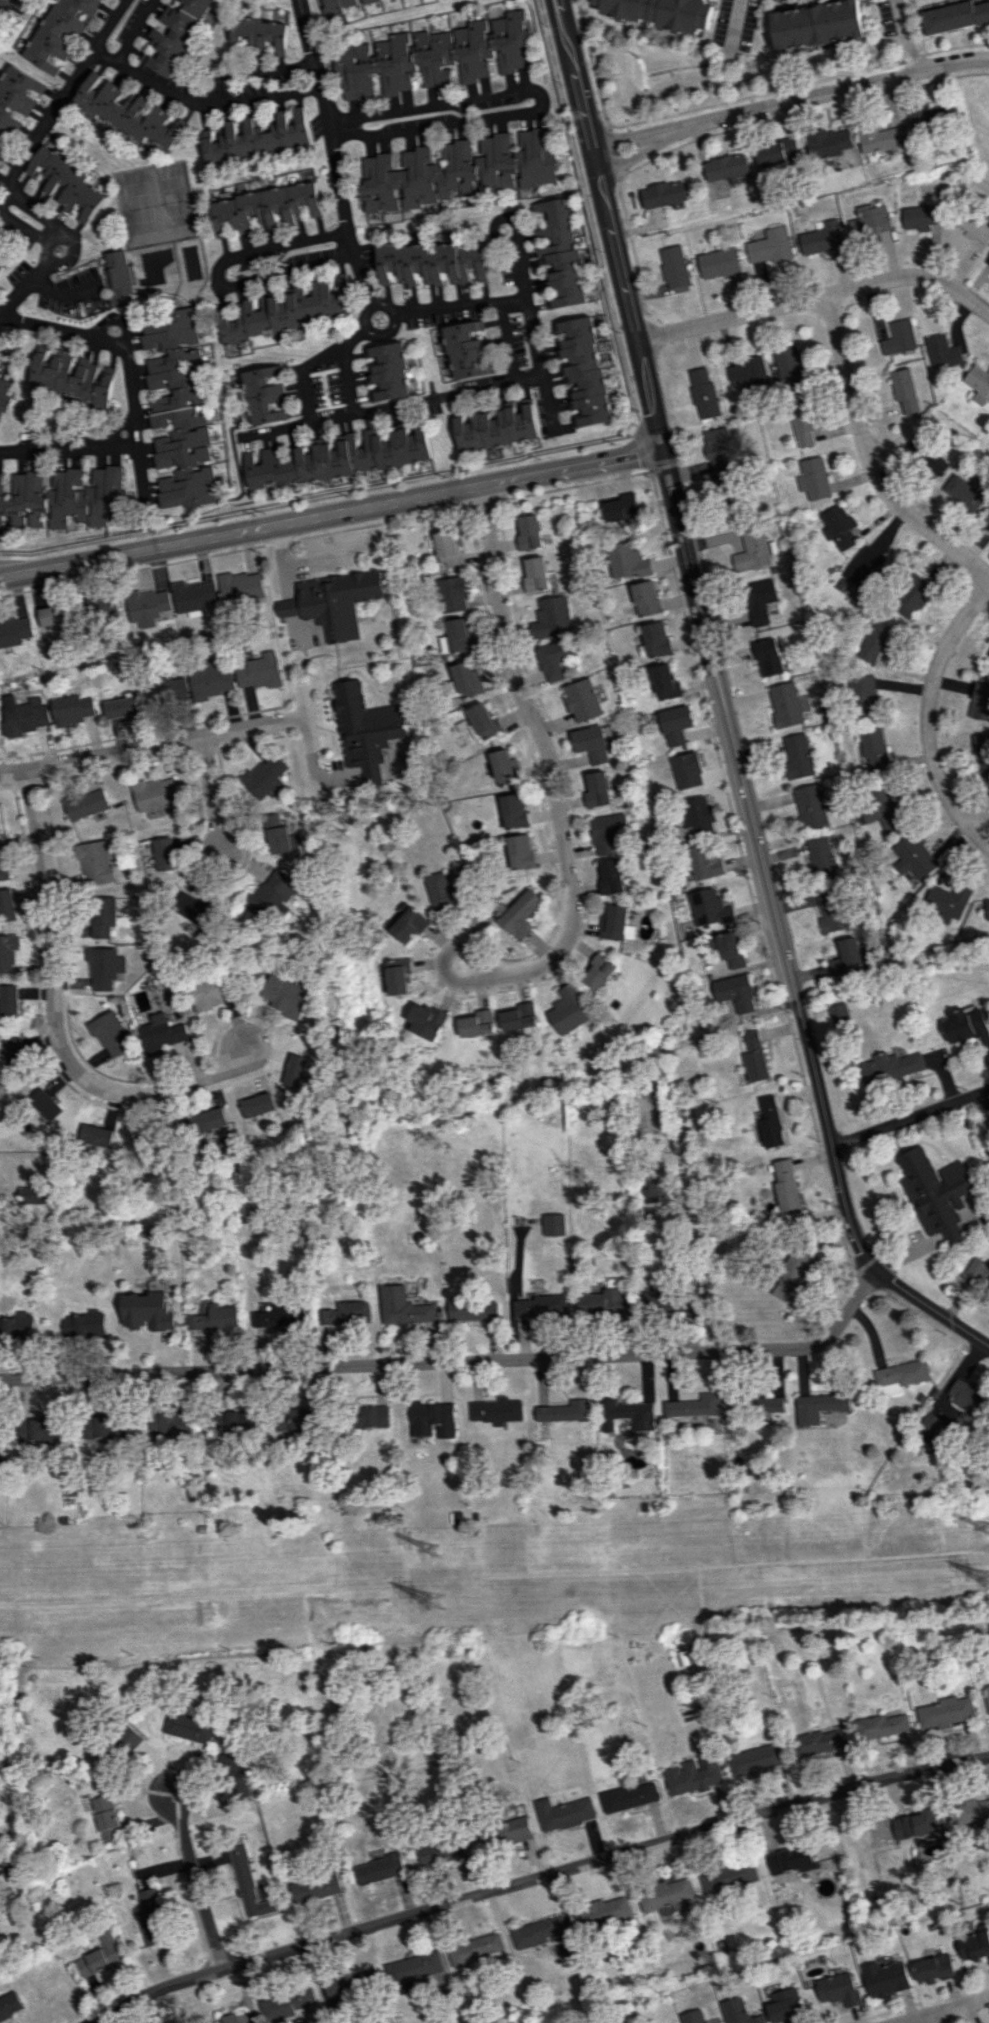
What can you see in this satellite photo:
building: (341, 6)
building: (660, 12)
building: (954, 15)
road: (109, 23)
road: (733, 24)
building: (817, 25)
road: (134, 31)
building: (61, 32)
building: (175, 34)
building: (258, 34)
road: (902, 35)
building: (433, 56)
road: (815, 94)
building: (16, 96)
road: (198, 109)
building: (126, 111)
road: (433, 111)
building: (926, 117)
road: (43, 125)
road: (615, 137)
building: (255, 138)
building: (879, 138)
building: (826, 142)
building: (2, 148)
road: (334, 153)
building: (777, 153)
road: (624, 158)
building: (726, 166)
building: (67, 181)
building: (663, 194)
park: (154, 204)
building: (265, 207)
building: (922, 216)
road: (43, 217)
building: (871, 220)
building: (975, 226)
building: (821, 238)
building: (769, 246)
building: (560, 252)
road: (52, 260)
building: (988, 261)
building: (430, 262)
building: (718, 262)
building: (674, 266)
building: (2, 267)
road: (215, 275)
building: (119, 277)
road: (26, 284)
road: (525, 291)
road: (819, 294)
road: (458, 306)
building: (284, 309)
road: (363, 314)
road: (391, 316)
road: (123, 323)
road: (371, 333)
road: (98, 337)
building: (899, 337)
building: (464, 351)
building: (942, 351)
road: (314, 366)
building: (788, 367)
building: (582, 371)
building: (0, 372)
building: (387, 372)
building: (748, 375)
building: (71, 376)
road: (347, 383)
building: (978, 383)
building: (904, 390)
building: (703, 392)
building: (5, 394)
building: (264, 395)
road: (428, 398)
building: (178, 412)
building: (802, 424)
building: (496, 427)
road: (56, 445)
road: (128, 445)
building: (718, 448)
building: (926, 455)
building: (337, 457)
road: (865, 459)
road: (137, 467)
building: (813, 478)
building: (964, 491)
building: (63, 499)
road: (331, 507)
building: (620, 507)
building: (987, 518)
building: (840, 527)
building: (528, 532)
building: (448, 548)
building: (753, 548)
building: (627, 561)
building: (865, 569)
building: (535, 573)
building: (241, 586)
building: (452, 594)
building: (194, 595)
building: (913, 595)
building: (646, 598)
building: (760, 600)
building: (101, 606)
building: (149, 606)
building: (337, 612)
building: (55, 614)
building: (552, 616)
building: (14, 630)
building: (457, 636)
building: (657, 639)
building: (876, 642)
building: (987, 654)
building: (769, 657)
building: (554, 659)
building: (259, 671)
building: (209, 680)
building: (464, 680)
building: (667, 682)
building: (166, 690)
building: (865, 694)
building: (583, 700)
road: (926, 700)
building: (980, 702)
building: (786, 704)
road: (727, 706)
building: (121, 707)
building: (72, 709)
building: (25, 716)
building: (362, 717)
building: (483, 722)
building: (676, 724)
road: (309, 730)
building: (591, 743)
road: (153, 745)
building: (875, 748)
building: (983, 752)
building: (798, 756)
building: (502, 767)
building: (687, 770)
road: (551, 772)
building: (265, 776)
building: (596, 789)
building: (155, 795)
road: (213, 797)
building: (85, 803)
building: (810, 806)
building: (513, 810)
building: (883, 810)
building: (698, 815)
building: (0, 819)
road: (983, 822)
building: (608, 831)
building: (276, 834)
road: (980, 838)
building: (520, 851)
building: (165, 853)
building: (822, 856)
building: (915, 857)
building: (2, 862)
building: (95, 862)
building: (704, 863)
building: (610, 876)
building: (445, 891)
building: (271, 893)
building: (950, 898)
building: (7, 905)
building: (709, 907)
building: (987, 908)
building: (832, 909)
building: (195, 912)
building: (521, 914)
building: (103, 916)
building: (613, 922)
building: (410, 924)
building: (730, 949)
building: (8, 952)
building: (851, 956)
building: (105, 968)
building: (597, 971)
building: (398, 976)
building: (212, 991)
building: (736, 992)
building: (287, 994)
building: (9, 1001)
building: (567, 1010)
building: (841, 1015)
building: (518, 1016)
road: (59, 1017)
building: (427, 1020)
building: (476, 1023)
building: (966, 1024)
building: (163, 1033)
building: (111, 1034)
building: (14, 1050)
building: (755, 1057)
building: (891, 1067)
building: (296, 1075)
building: (45, 1104)
building: (257, 1106)
road: (908, 1115)
building: (206, 1121)
building: (769, 1122)
building: (95, 1135)
building: (142, 1140)
building: (786, 1185)
building: (648, 1188)
building: (32, 1194)
building: (938, 1194)
building: (553, 1224)
building: (977, 1271)
building: (790, 1275)
building: (797, 1300)
building: (604, 1303)
building: (674, 1304)
building: (404, 1306)
building: (540, 1307)
building: (474, 1309)
building: (148, 1311)
building: (347, 1313)
building: (214, 1317)
building: (280, 1317)
building: (83, 1325)
building: (16, 1327)
road: (454, 1363)
building: (900, 1373)
building: (965, 1396)
building: (769, 1404)
building: (695, 1405)
building: (820, 1405)
building: (495, 1410)
building: (564, 1411)
building: (626, 1414)
building: (370, 1415)
building: (431, 1418)
building: (294, 1419)
building: (240, 1421)
building: (149, 1424)
building: (176, 1424)
building: (40, 1429)
building: (104, 1431)
building: (932, 1431)
power tower: (442, 1554)
power tower: (443, 1606)
building: (987, 1695)
building: (944, 1712)
building: (880, 1726)
building: (130, 1738)
building: (817, 1742)
building: (754, 1759)
building: (236, 1774)
building: (692, 1774)
building: (630, 1797)
building: (565, 1812)
building: (972, 1812)
building: (107, 1818)
building: (915, 1825)
building: (442, 1850)
road: (855, 1855)
building: (790, 1859)
building: (380, 1869)
road: (538, 1875)
road: (194, 1876)
building: (729, 1876)
building: (249, 1883)
building: (316, 1887)
building: (667, 1895)
building: (603, 1912)
building: (152, 1917)
building: (540, 1930)
building: (973, 1946)
building: (474, 1949)
building: (98, 1957)
building: (414, 1967)
building: (933, 1968)
building: (884, 1978)
building: (837, 1989)
building: (322, 1994)
building: (10, 2005)
building: (783, 2005)
road: (946, 2010)
building: (738, 2012)
building: (693, 2016)
building: (235, 2018)
road: (926, 2020)

